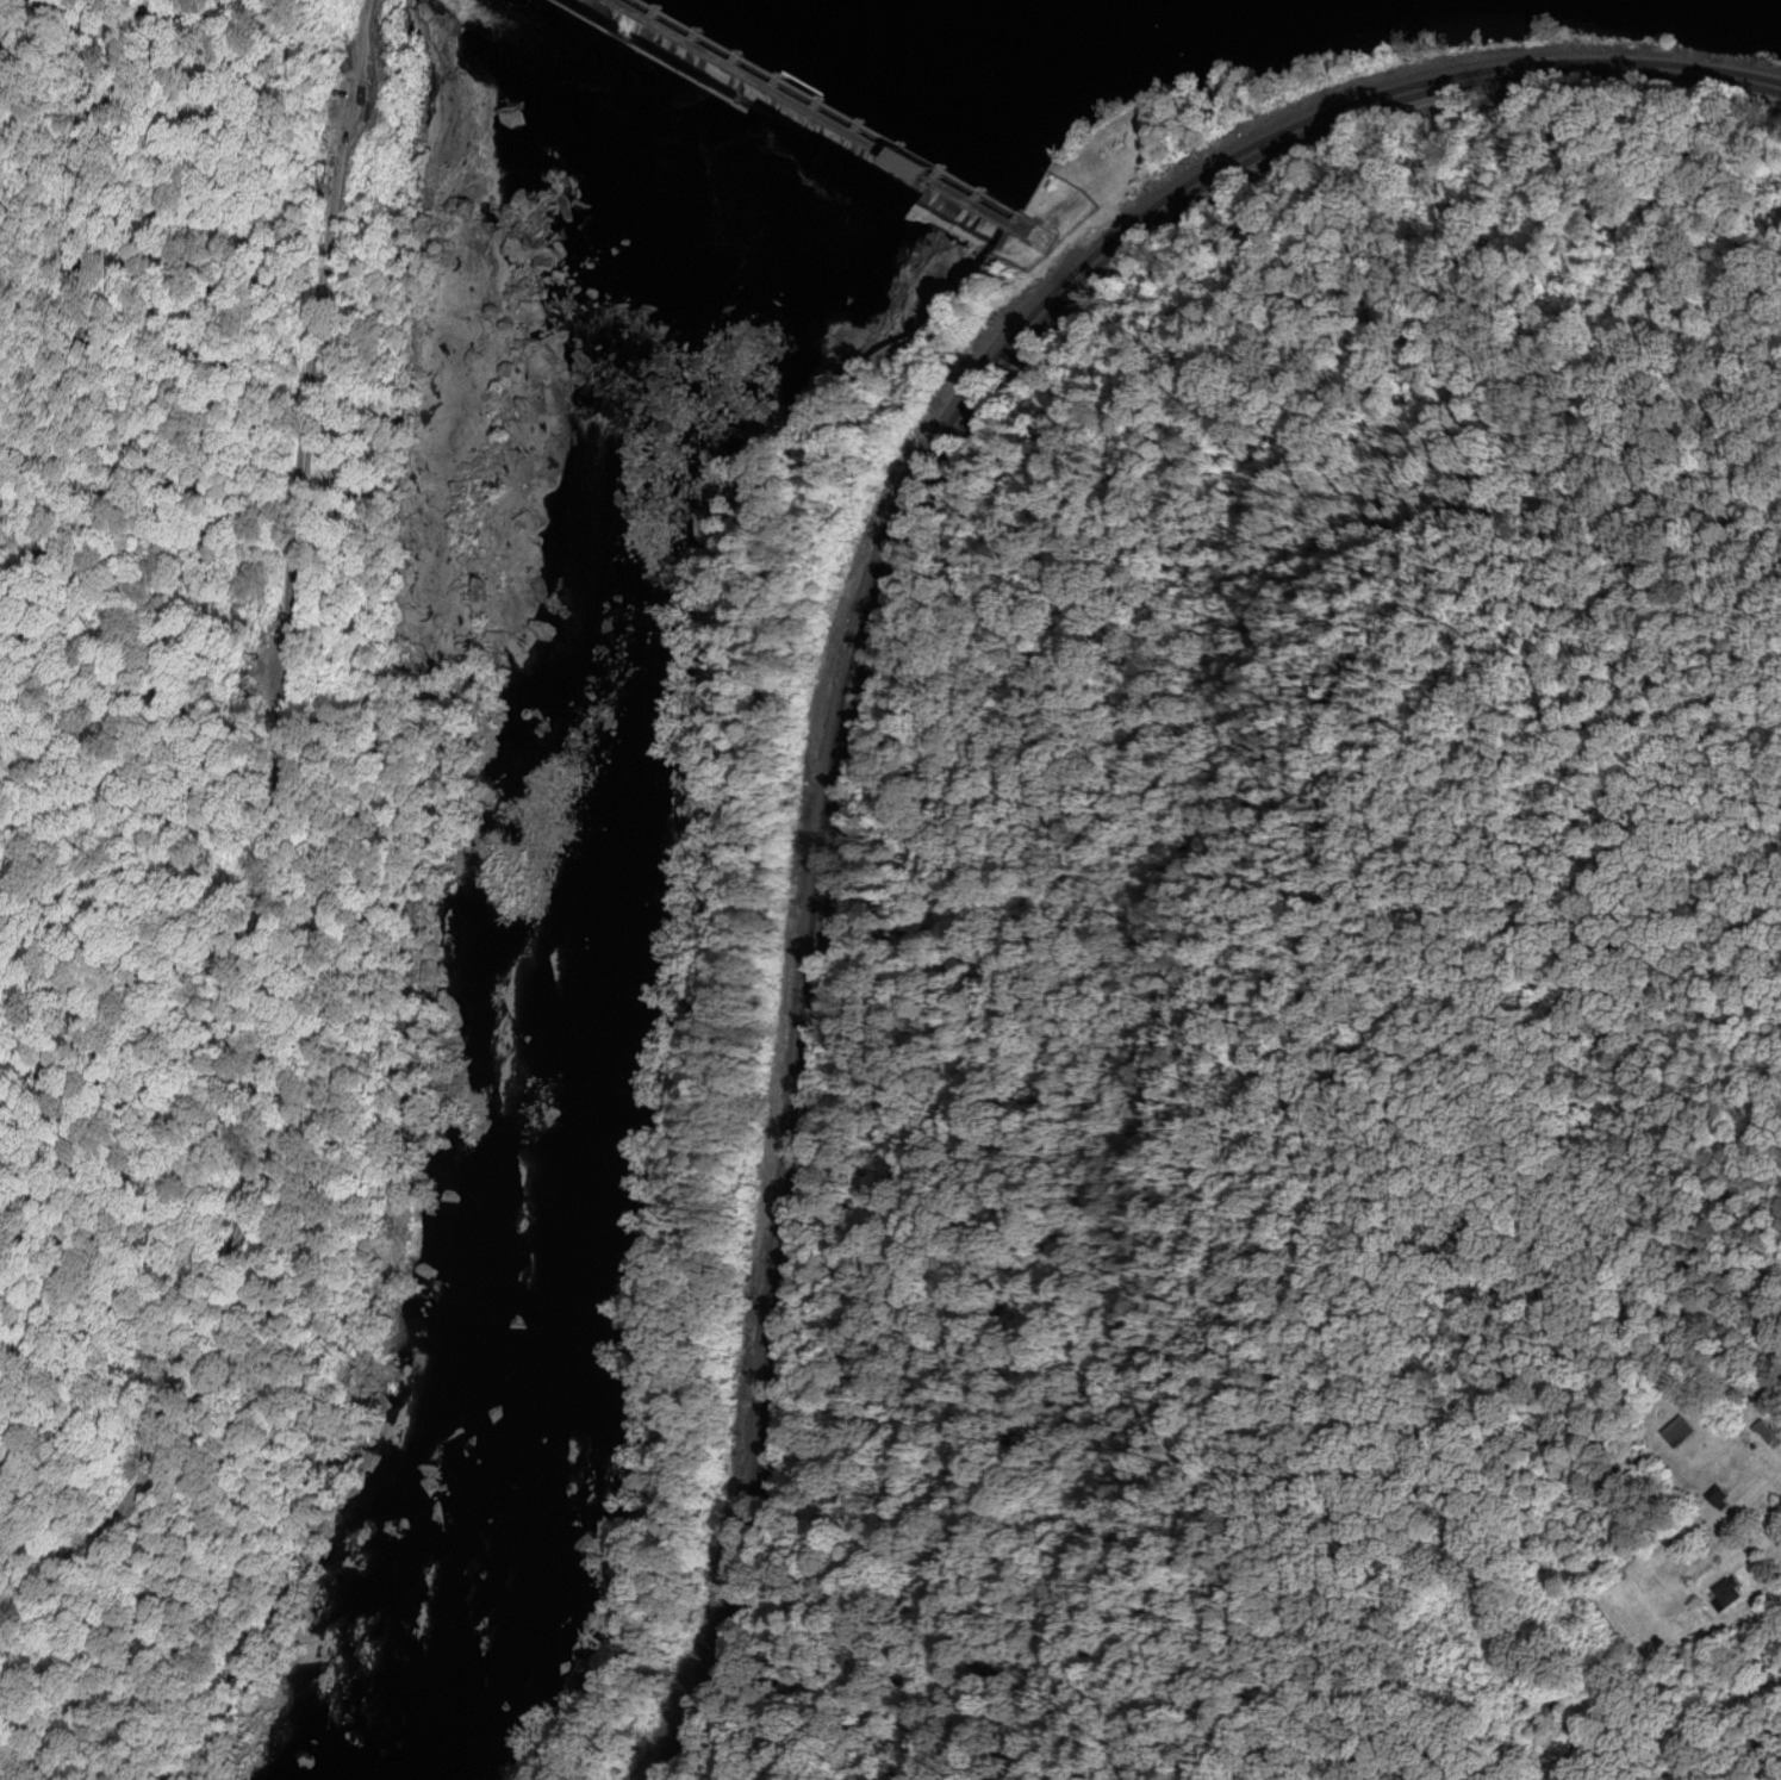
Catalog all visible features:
park: (1189, 58)
dam: (822, 120)
dam: (854, 120)
railway: (858, 621)
railway: (866, 629)
road: (251, 820)
river: (587, 891)
building: (1677, 1430)
building: (1767, 1431)
road: (1780, 1474)
building: (1718, 1493)
building: (1726, 1592)
road: (1738, 1754)

